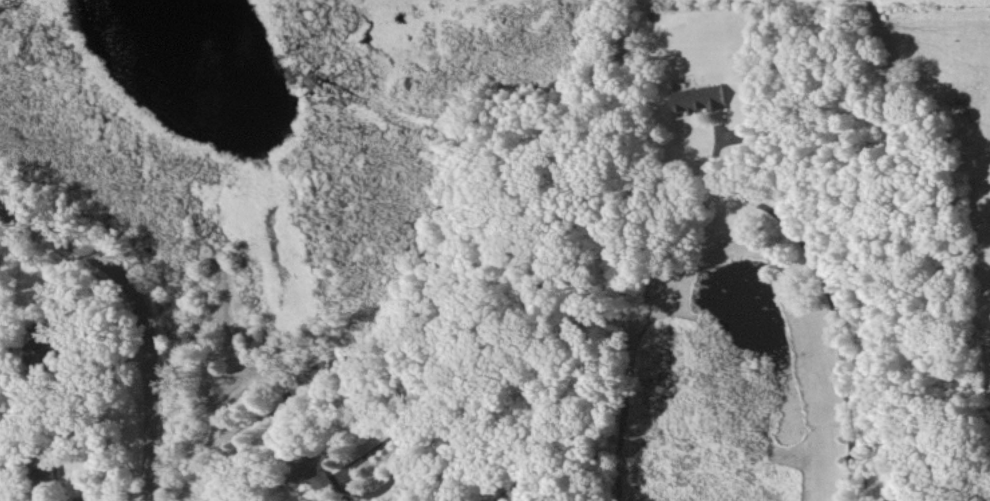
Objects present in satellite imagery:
building: (699, 98)
road: (830, 296)
road: (132, 314)
building: (45, 348)
road: (275, 406)
building: (45, 466)
building: (314, 475)

